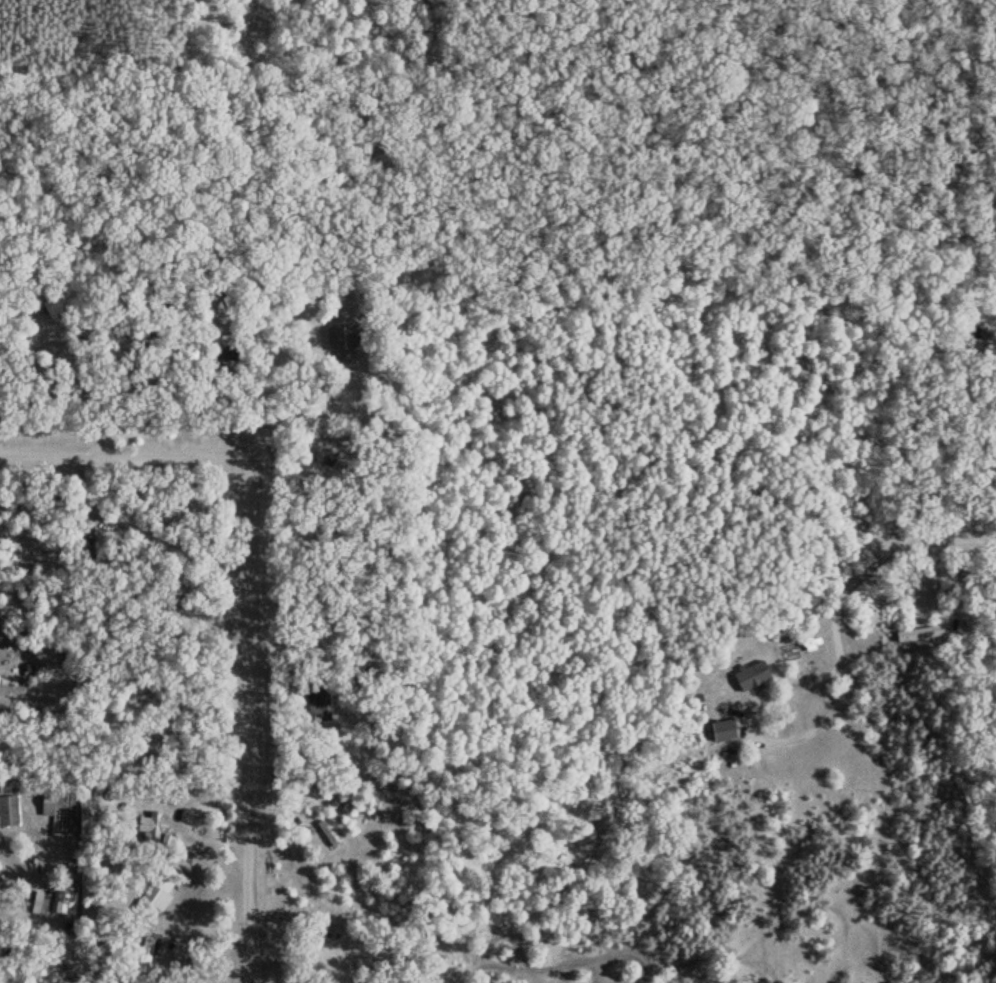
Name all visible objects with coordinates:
building: (341, 341)
building: (223, 347)
road: (129, 457)
building: (51, 497)
building: (81, 536)
building: (171, 611)
building: (918, 631)
building: (751, 673)
building: (12, 688)
building: (317, 703)
building: (722, 728)
road: (254, 733)
building: (155, 740)
building: (51, 799)
building: (9, 808)
building: (154, 829)
building: (326, 831)
building: (100, 836)
building: (144, 952)
building: (352, 957)

